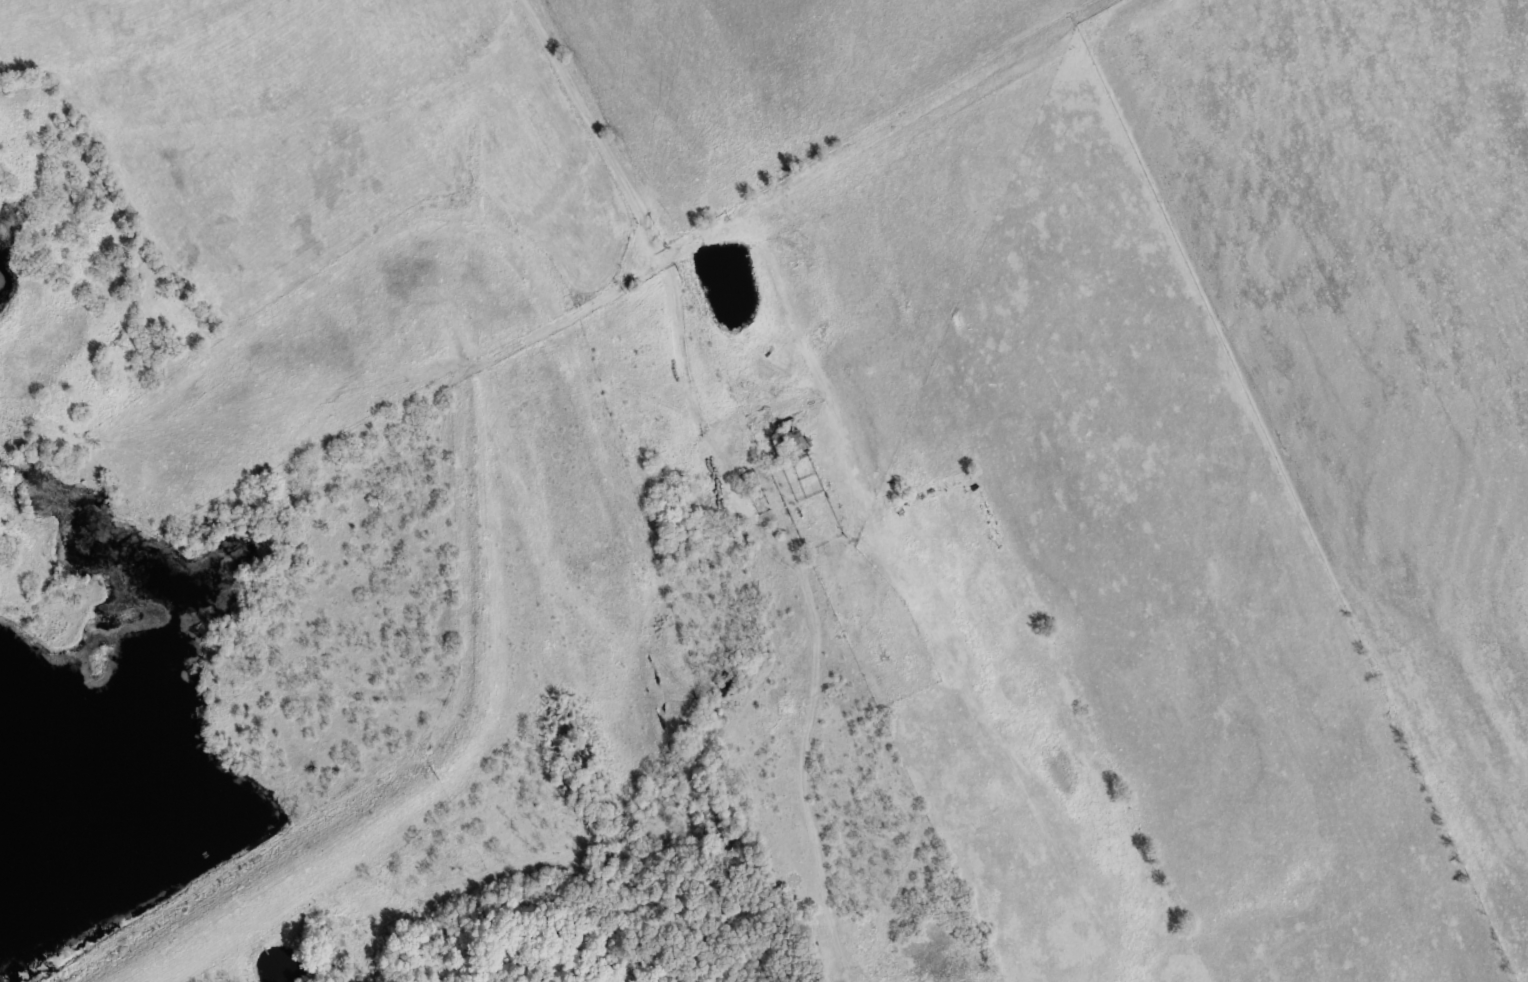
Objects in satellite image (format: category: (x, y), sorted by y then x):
building: (789, 434)
road: (849, 453)

